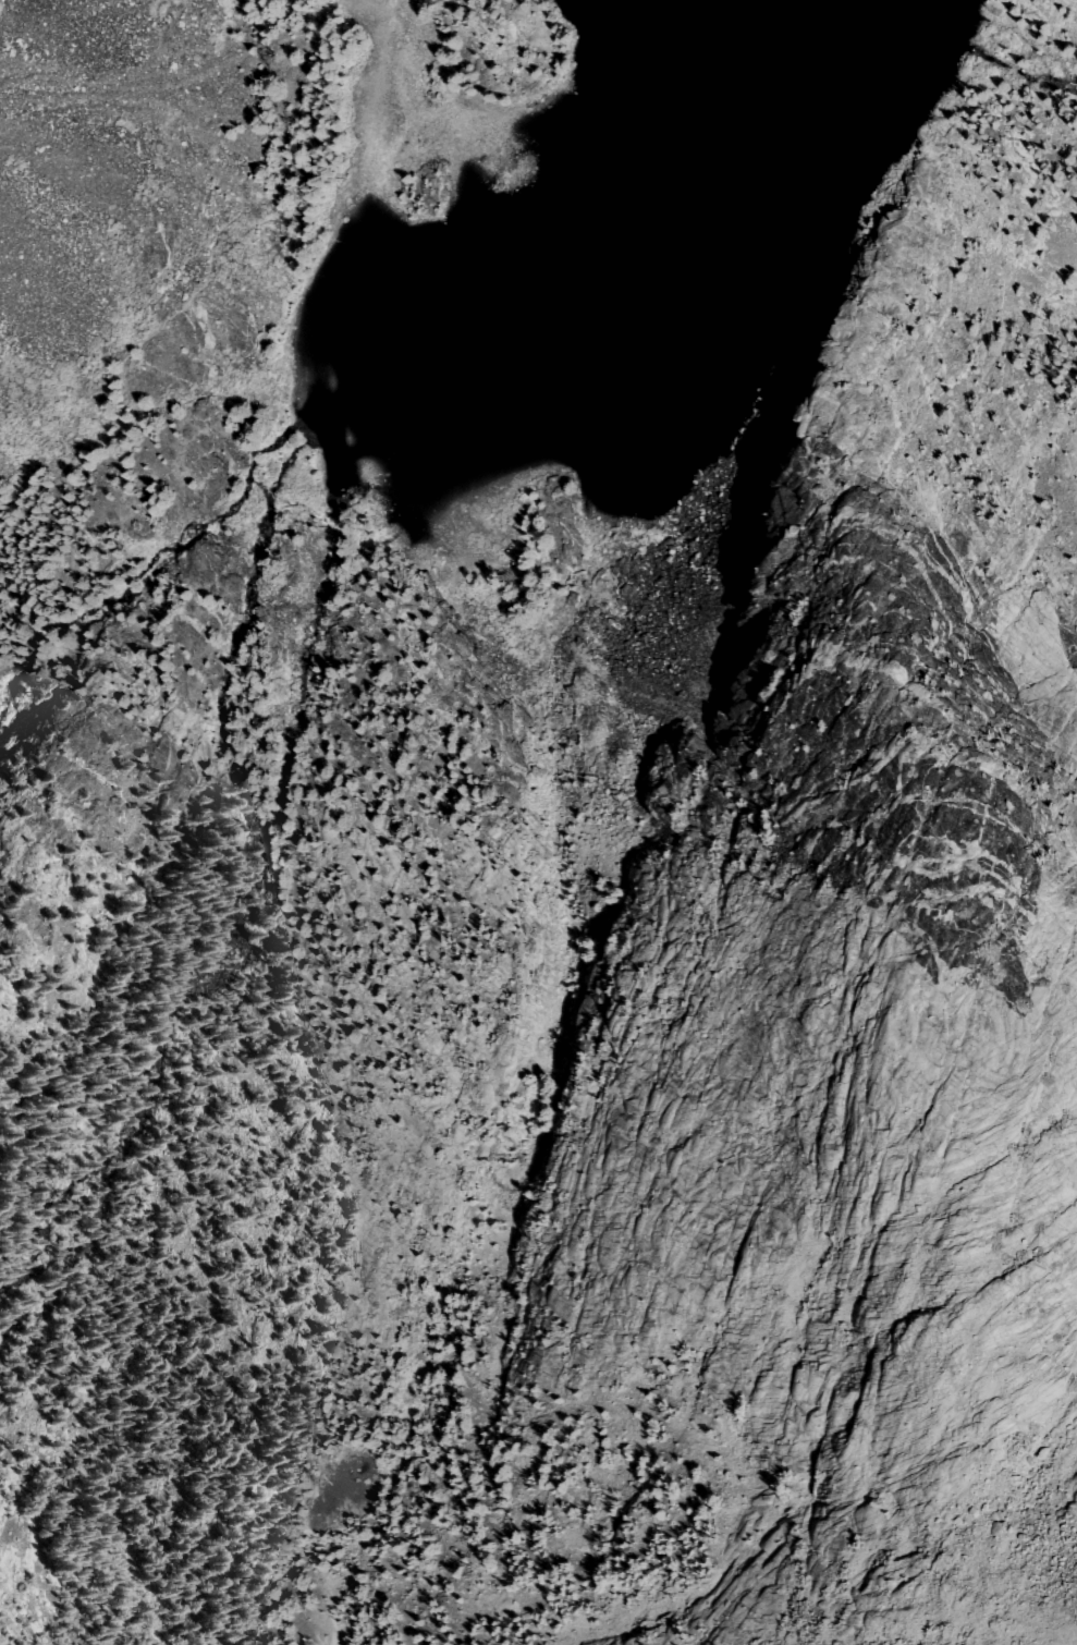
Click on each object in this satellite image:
road: (1037, 26)
road: (200, 288)

